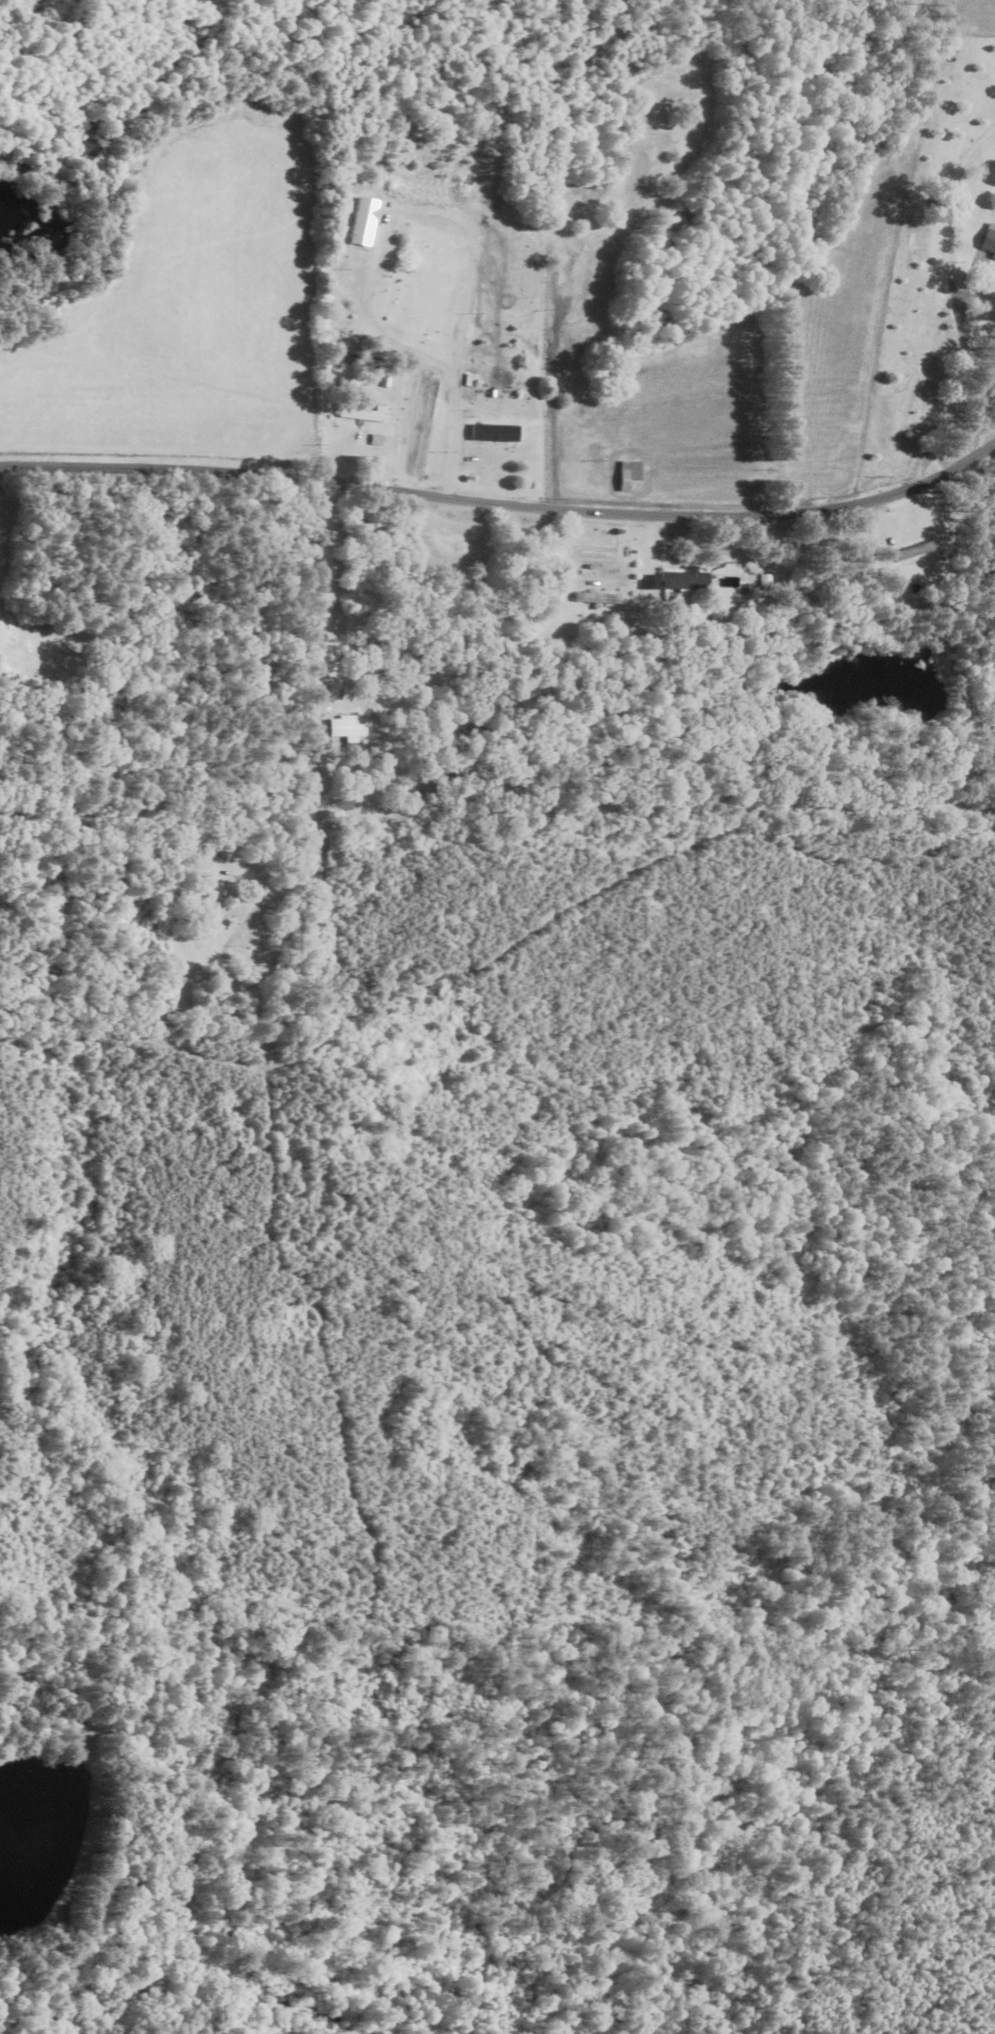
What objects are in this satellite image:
building: (365, 221)
building: (987, 242)
building: (362, 417)
building: (501, 427)
building: (630, 476)
road: (504, 503)
road: (964, 541)
building: (914, 560)
building: (685, 580)
building: (765, 581)
road: (305, 763)
building: (210, 898)
road: (416, 898)
road: (211, 1070)

